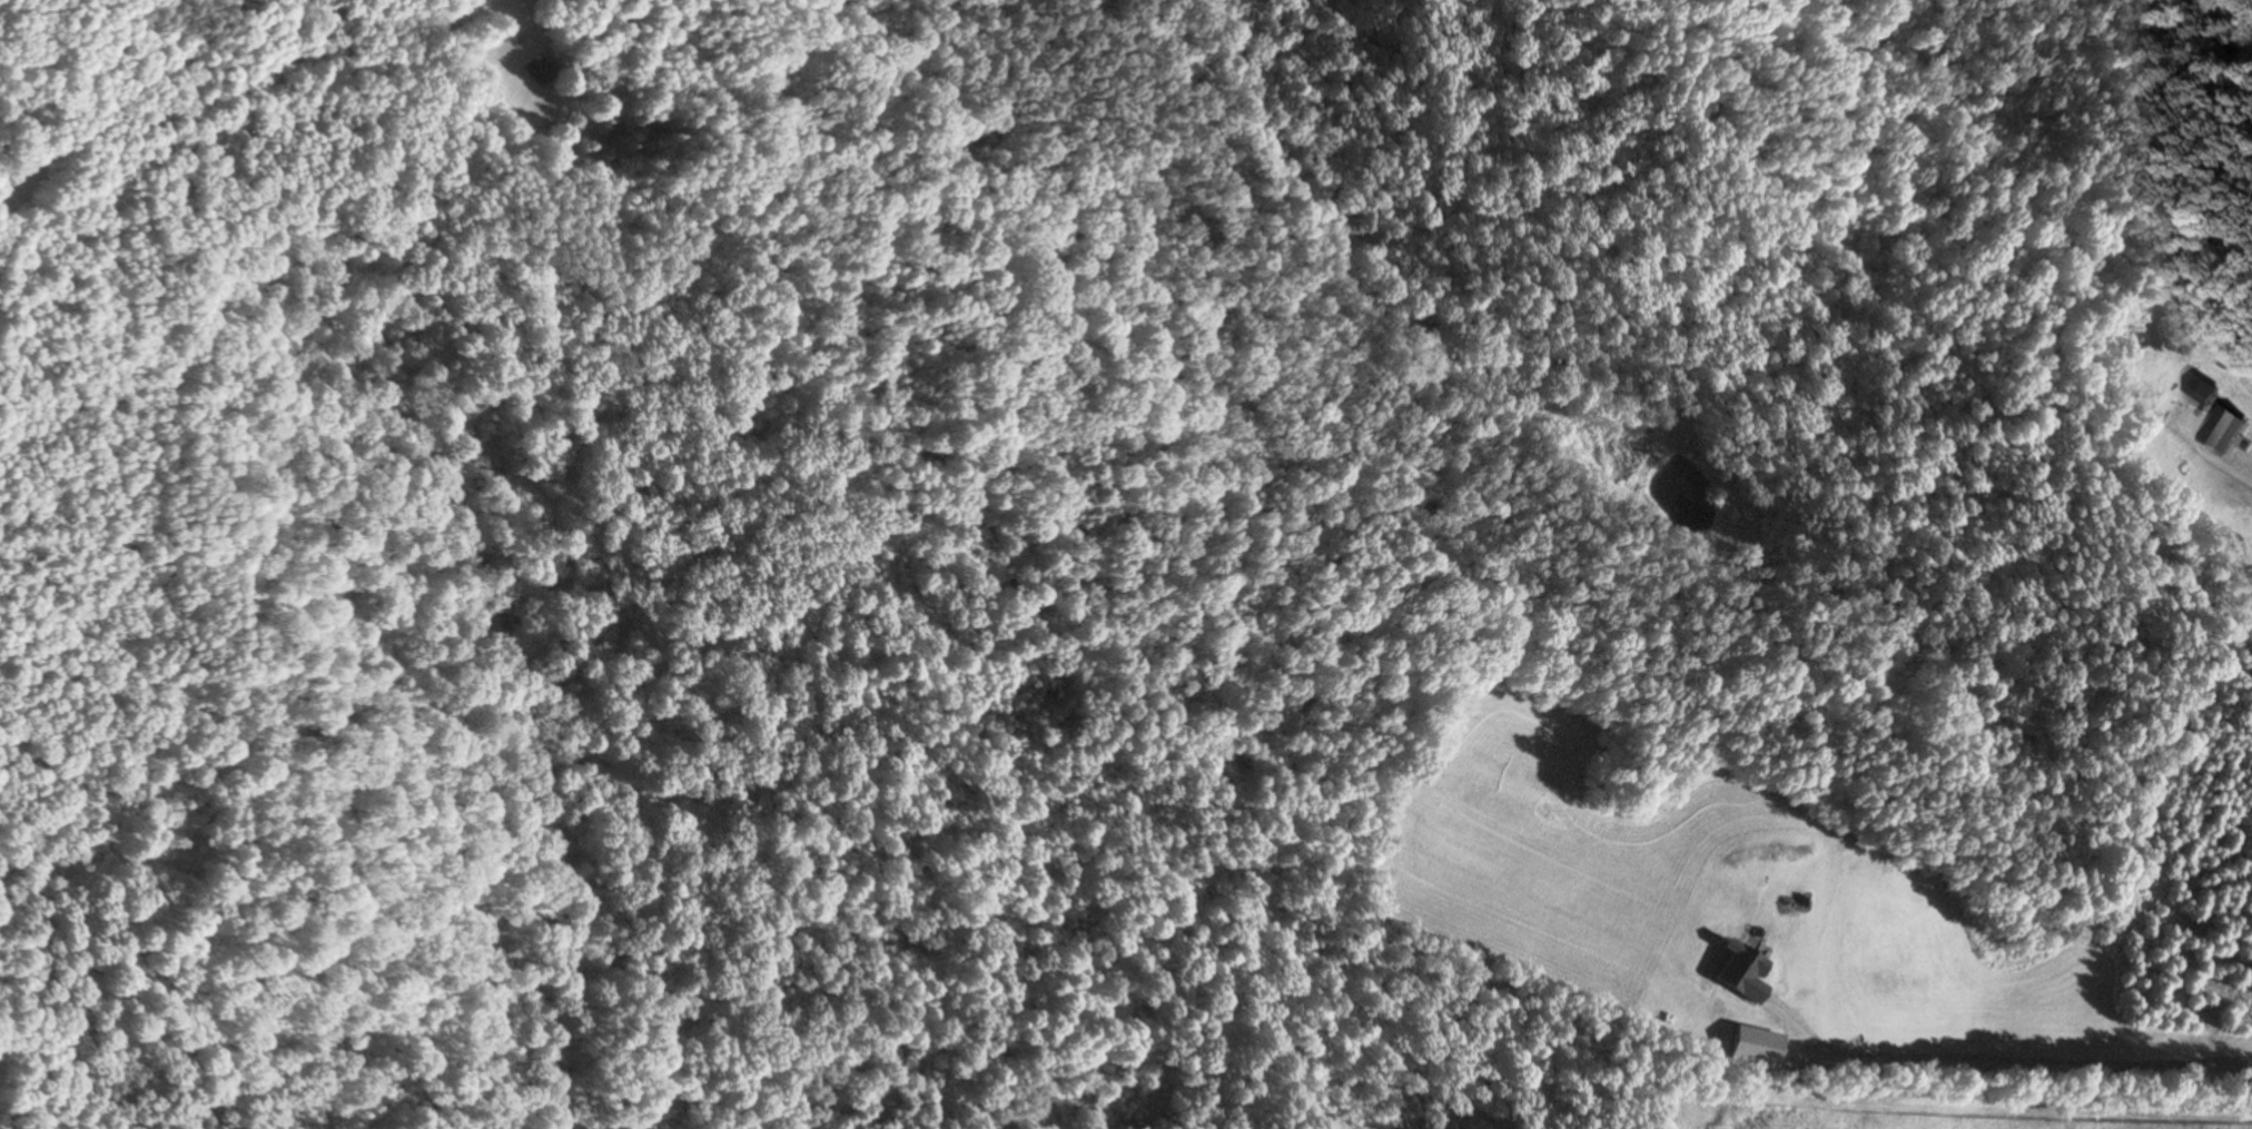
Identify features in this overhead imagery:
building: (535, 71)
building: (2205, 393)
building: (2229, 433)
road: (2212, 462)

